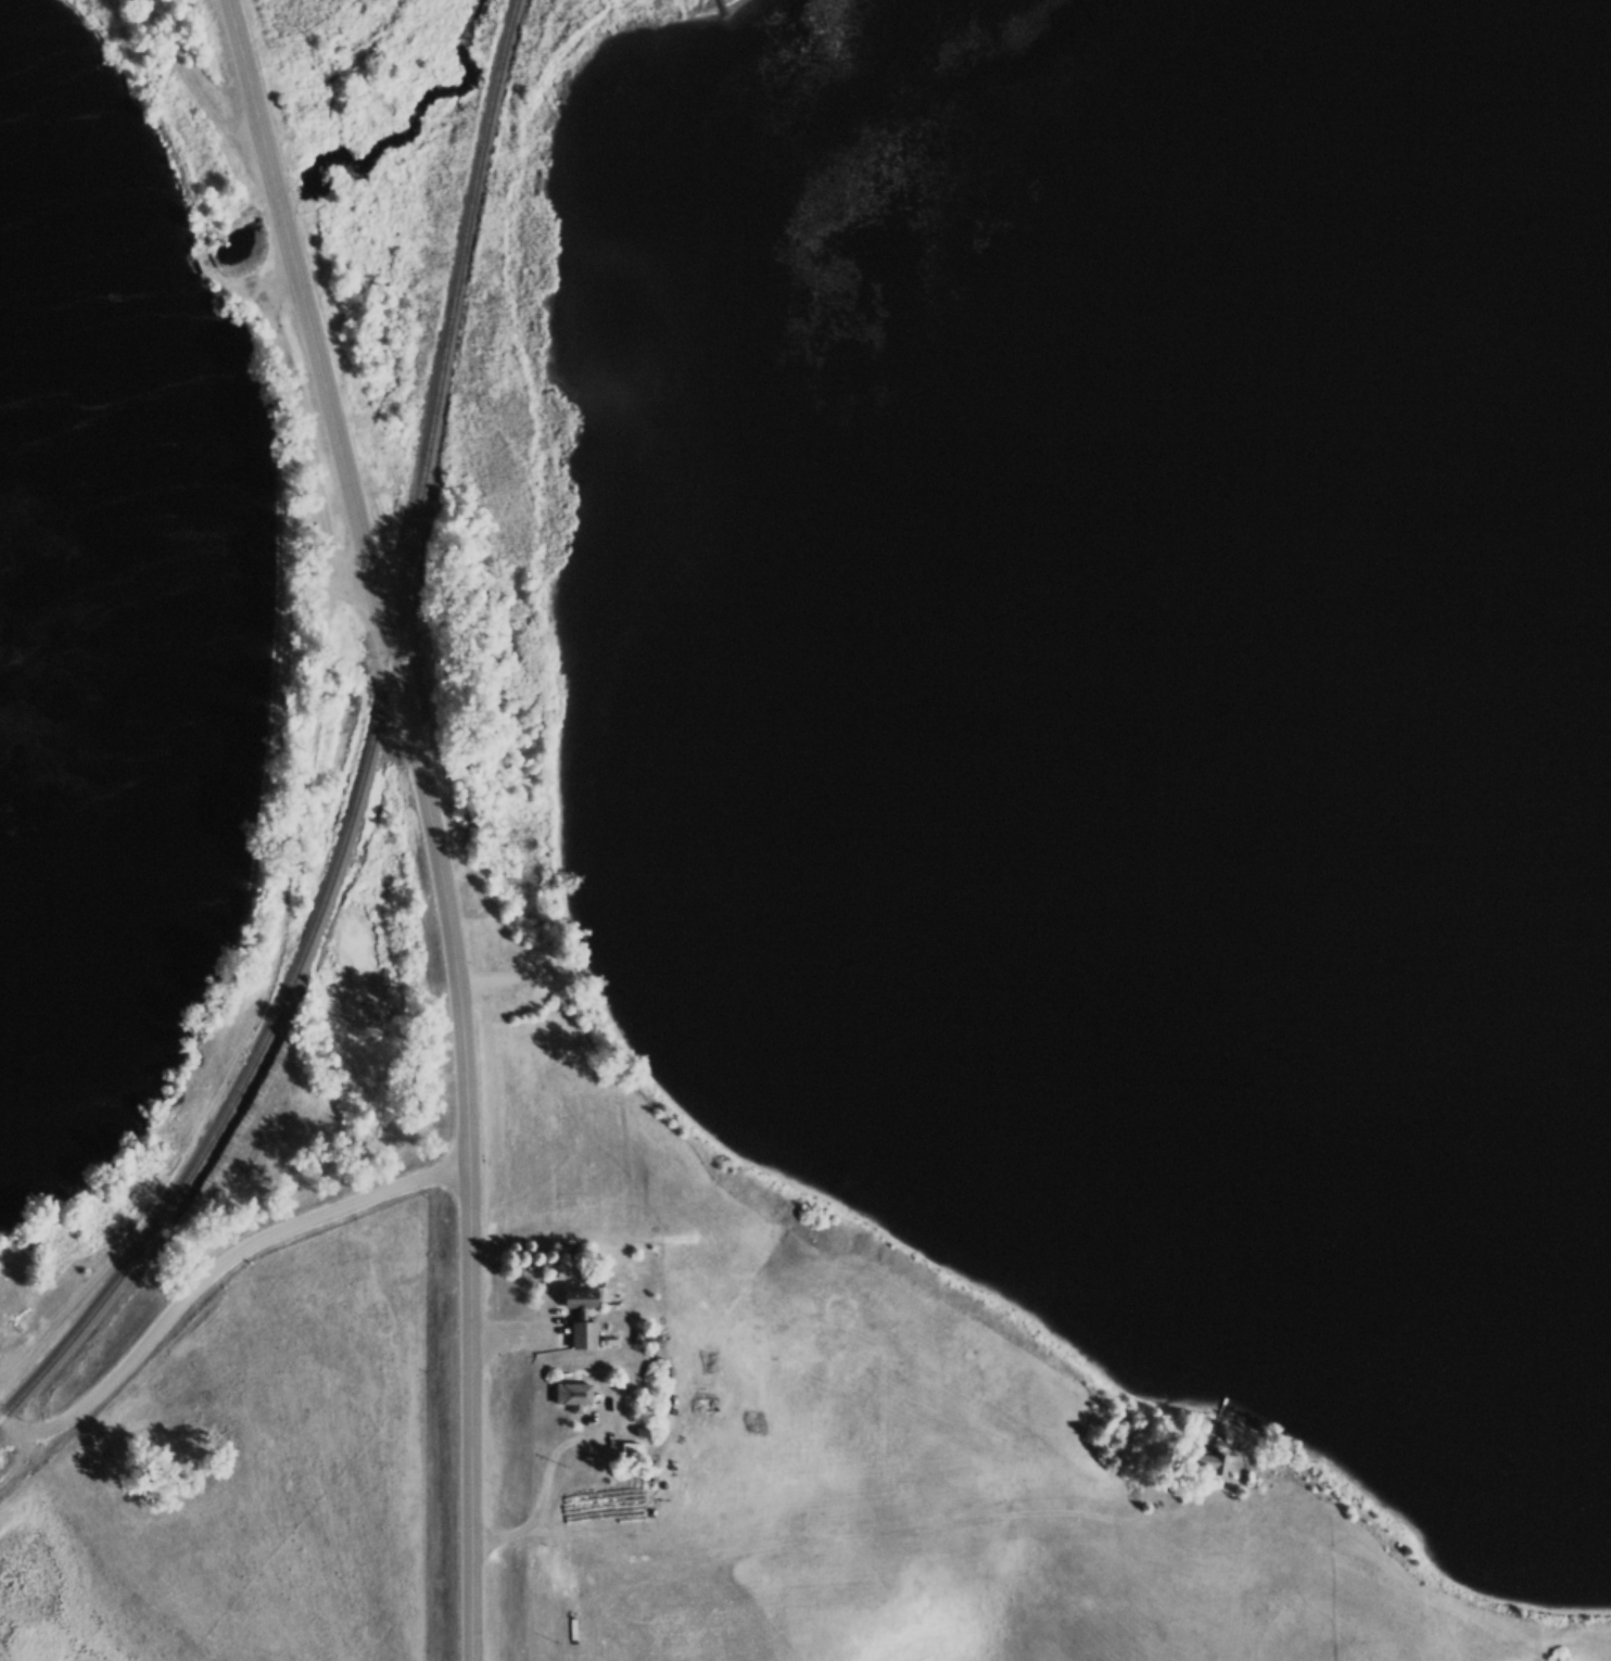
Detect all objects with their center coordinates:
river: (606, 4)
river: (1599, 42)
river: (380, 202)
river: (1033, 259)
river: (123, 373)
railway: (365, 751)
road: (427, 820)
road: (364, 1204)
building: (576, 1318)
road: (153, 1348)
building: (571, 1396)
road: (24, 1436)
building: (1204, 1466)
building: (647, 1473)
road: (24, 1481)

